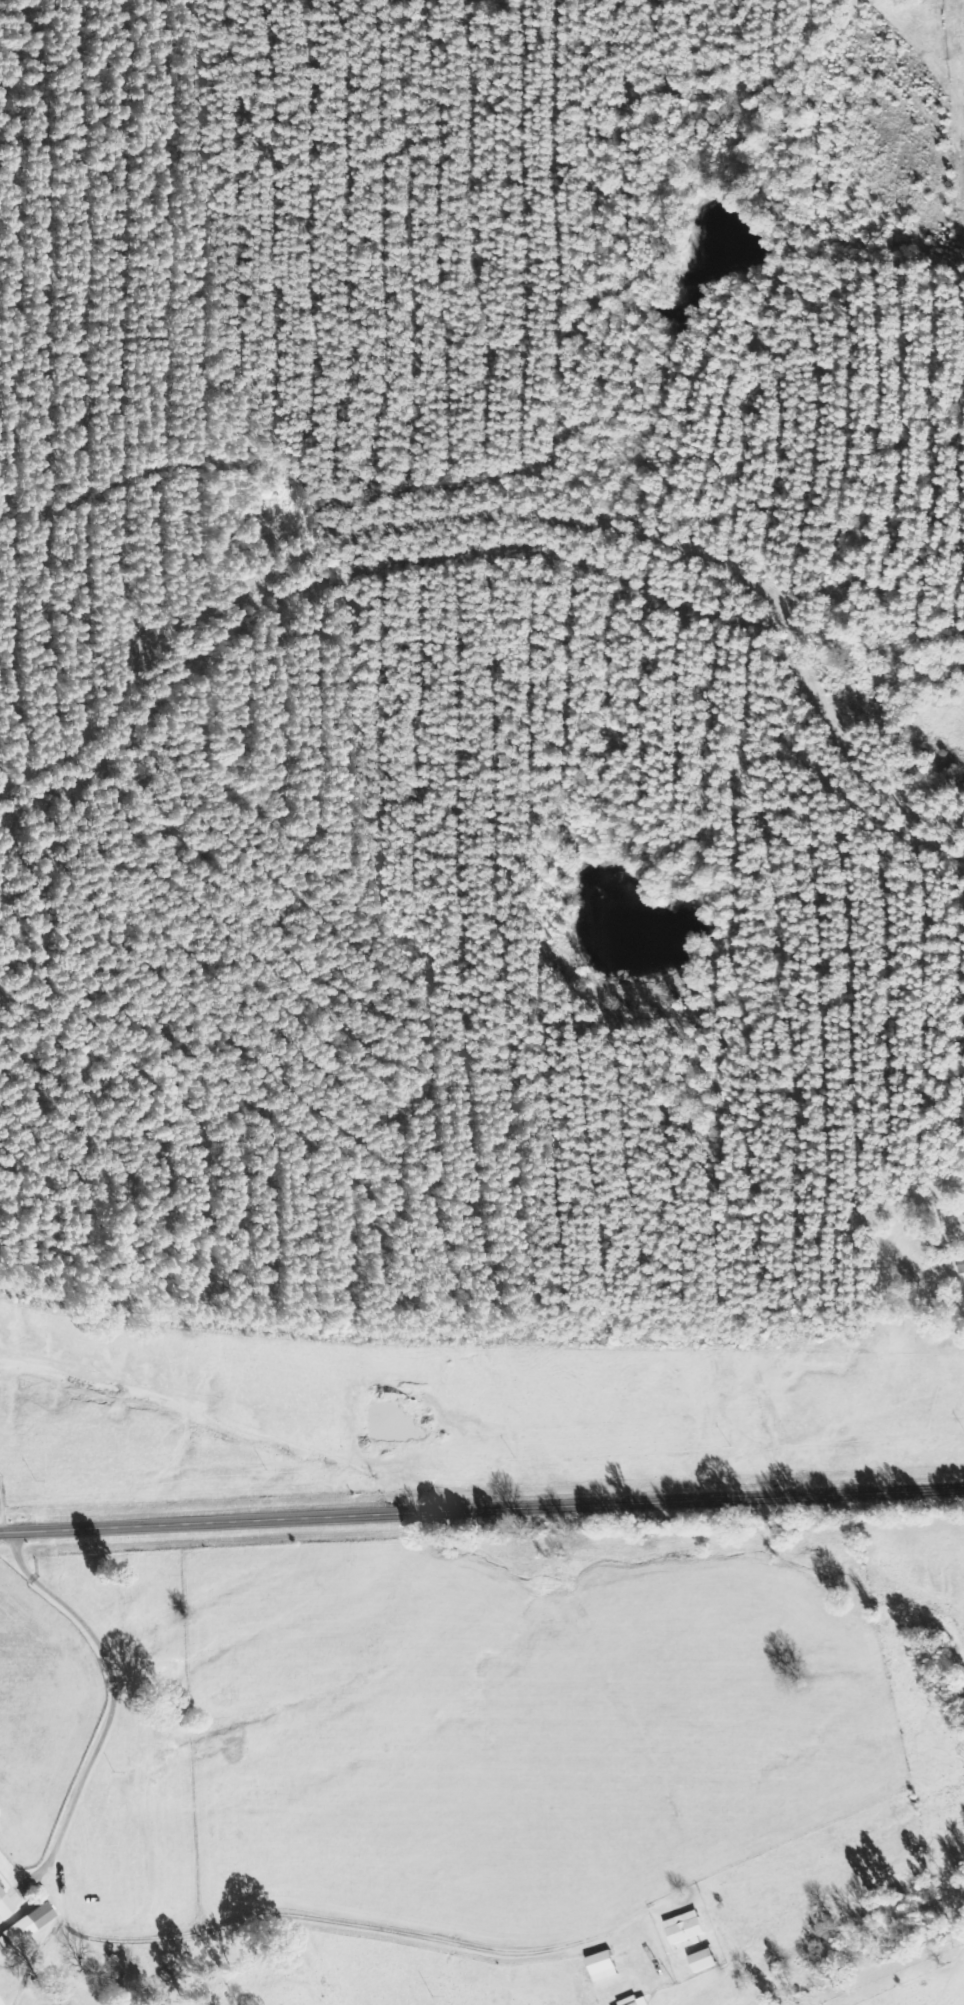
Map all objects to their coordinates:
building: (962, 1264)
road: (2, 1509)
road: (482, 1510)
building: (6, 1902)
building: (23, 1922)
building: (687, 1927)
road: (129, 1938)
building: (706, 1960)
building: (605, 1965)
building: (637, 2001)

